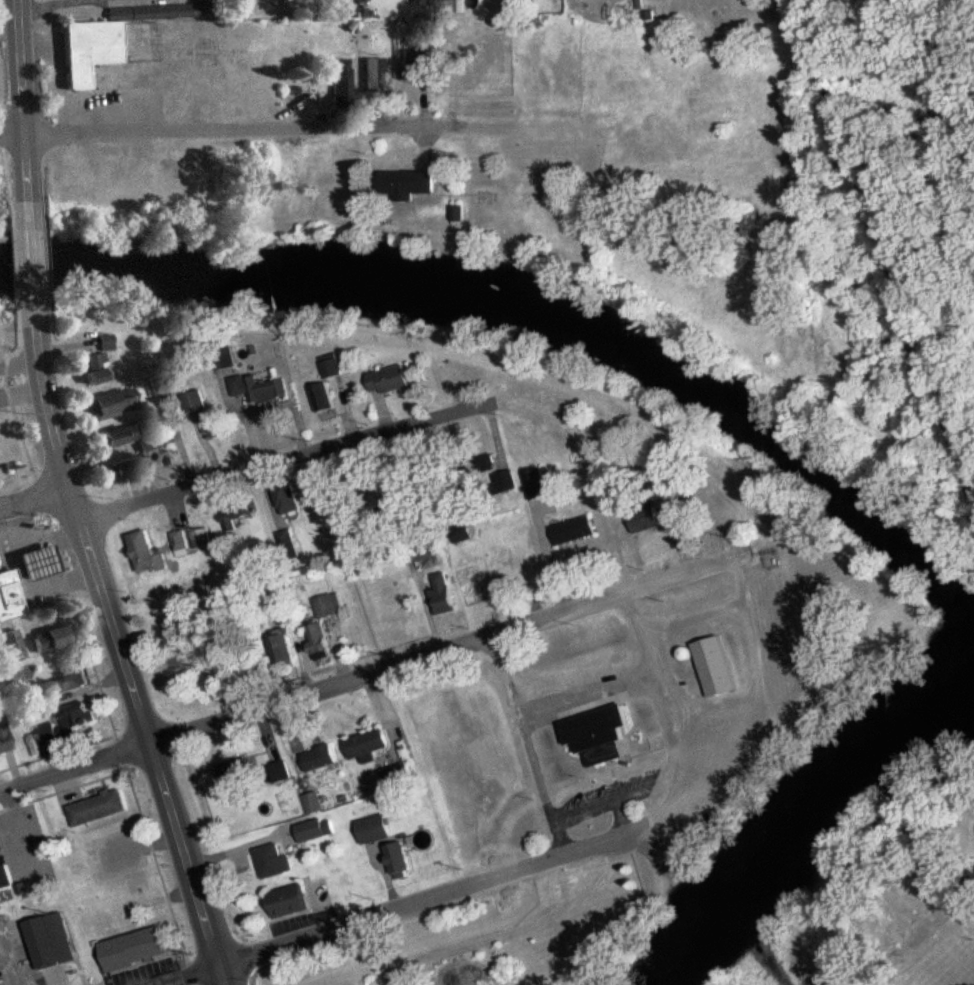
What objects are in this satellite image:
road: (50, 2)
building: (114, 38)
building: (414, 61)
building: (371, 75)
building: (343, 85)
road: (21, 107)
road: (244, 129)
road: (11, 134)
building: (410, 185)
building: (459, 215)
road: (883, 250)
road: (31, 265)
river: (563, 315)
building: (107, 343)
building: (334, 367)
building: (97, 369)
building: (393, 381)
building: (161, 386)
building: (262, 390)
building: (327, 399)
building: (117, 402)
building: (198, 403)
building: (216, 424)
building: (129, 438)
road: (287, 458)
building: (129, 469)
road: (34, 497)
building: (290, 500)
building: (234, 521)
building: (648, 521)
building: (576, 531)
building: (194, 541)
building: (289, 544)
building: (144, 550)
building: (41, 562)
building: (11, 589)
road: (635, 589)
building: (444, 595)
building: (330, 606)
building: (53, 639)
building: (321, 643)
road: (121, 652)
building: (285, 652)
building: (719, 668)
building: (77, 680)
building: (68, 725)
building: (601, 734)
building: (5, 736)
road: (529, 745)
building: (369, 747)
building: (321, 759)
road: (75, 767)
building: (239, 774)
building: (314, 804)
building: (98, 808)
building: (318, 830)
building: (377, 830)
river: (823, 850)
building: (401, 859)
building: (274, 862)
building: (5, 878)
building: (292, 901)
road: (393, 910)
parking lot: (971, 923)
building: (52, 941)
building: (137, 949)
road: (188, 974)

